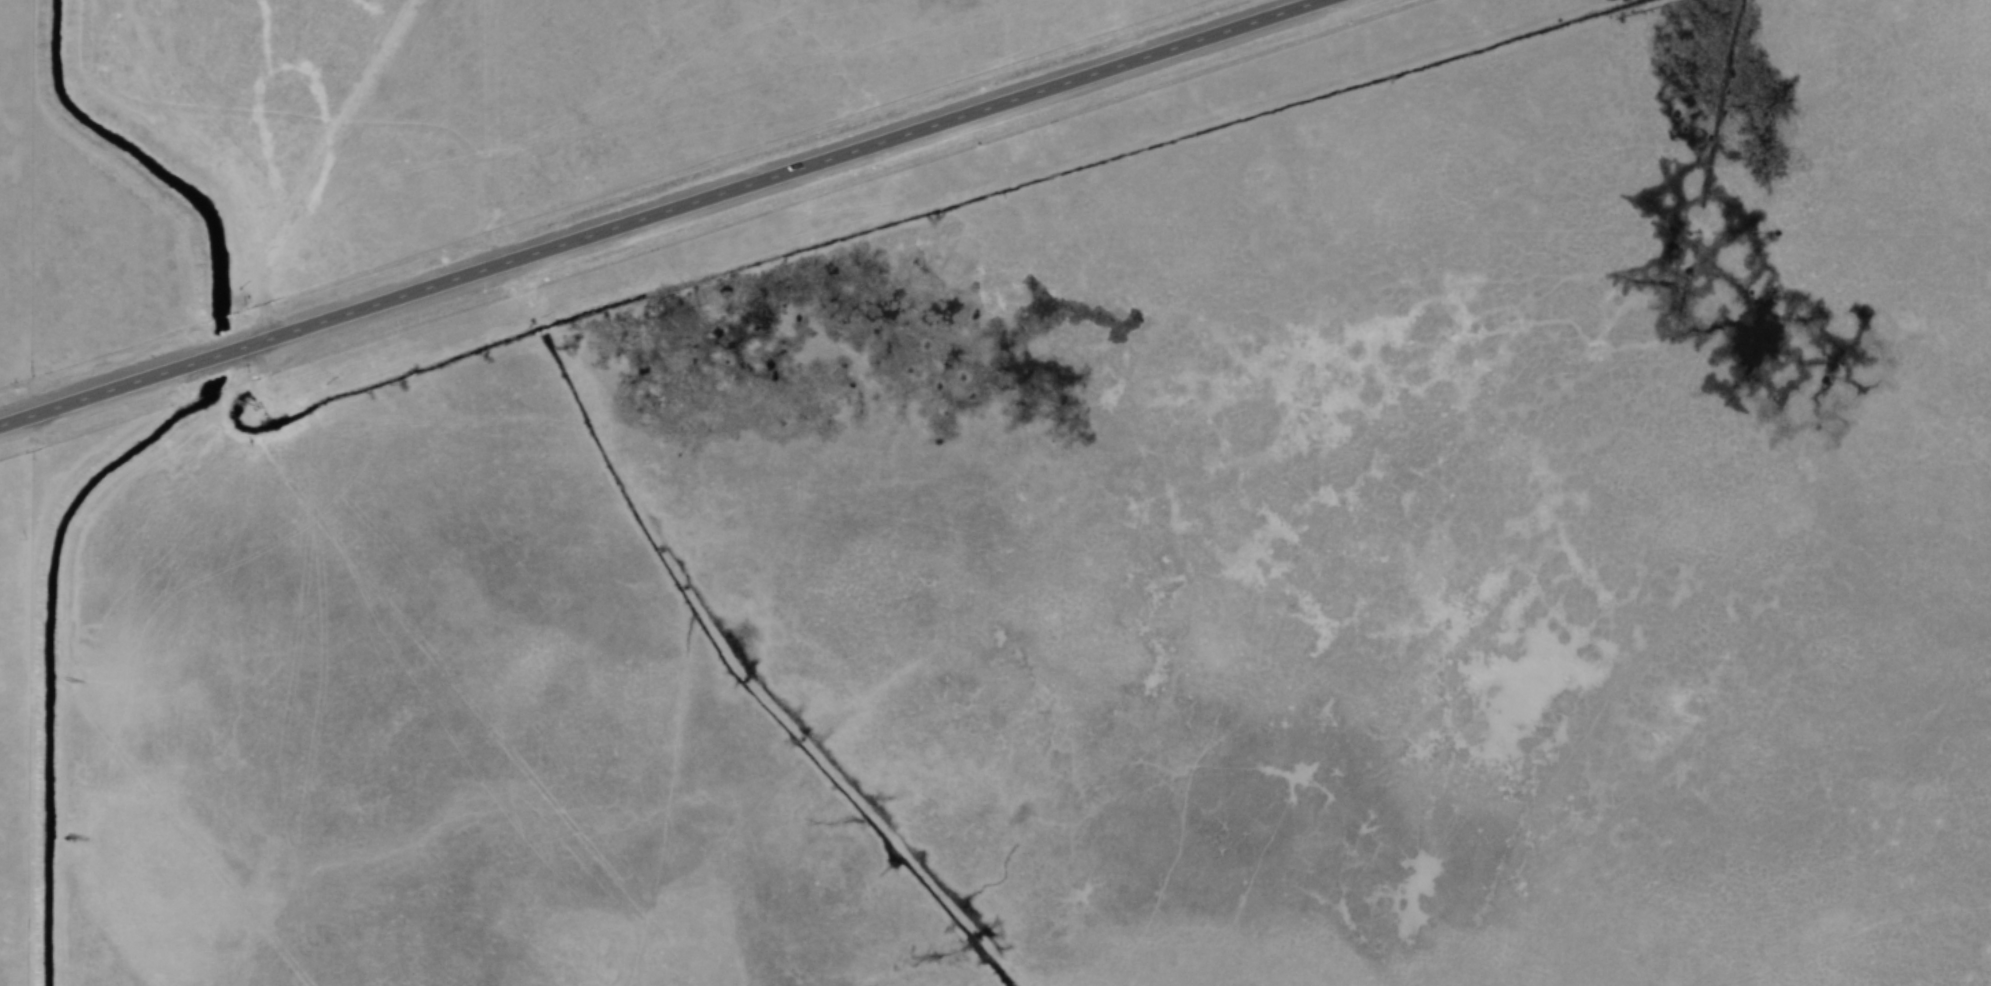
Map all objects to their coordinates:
road: (660, 212)

